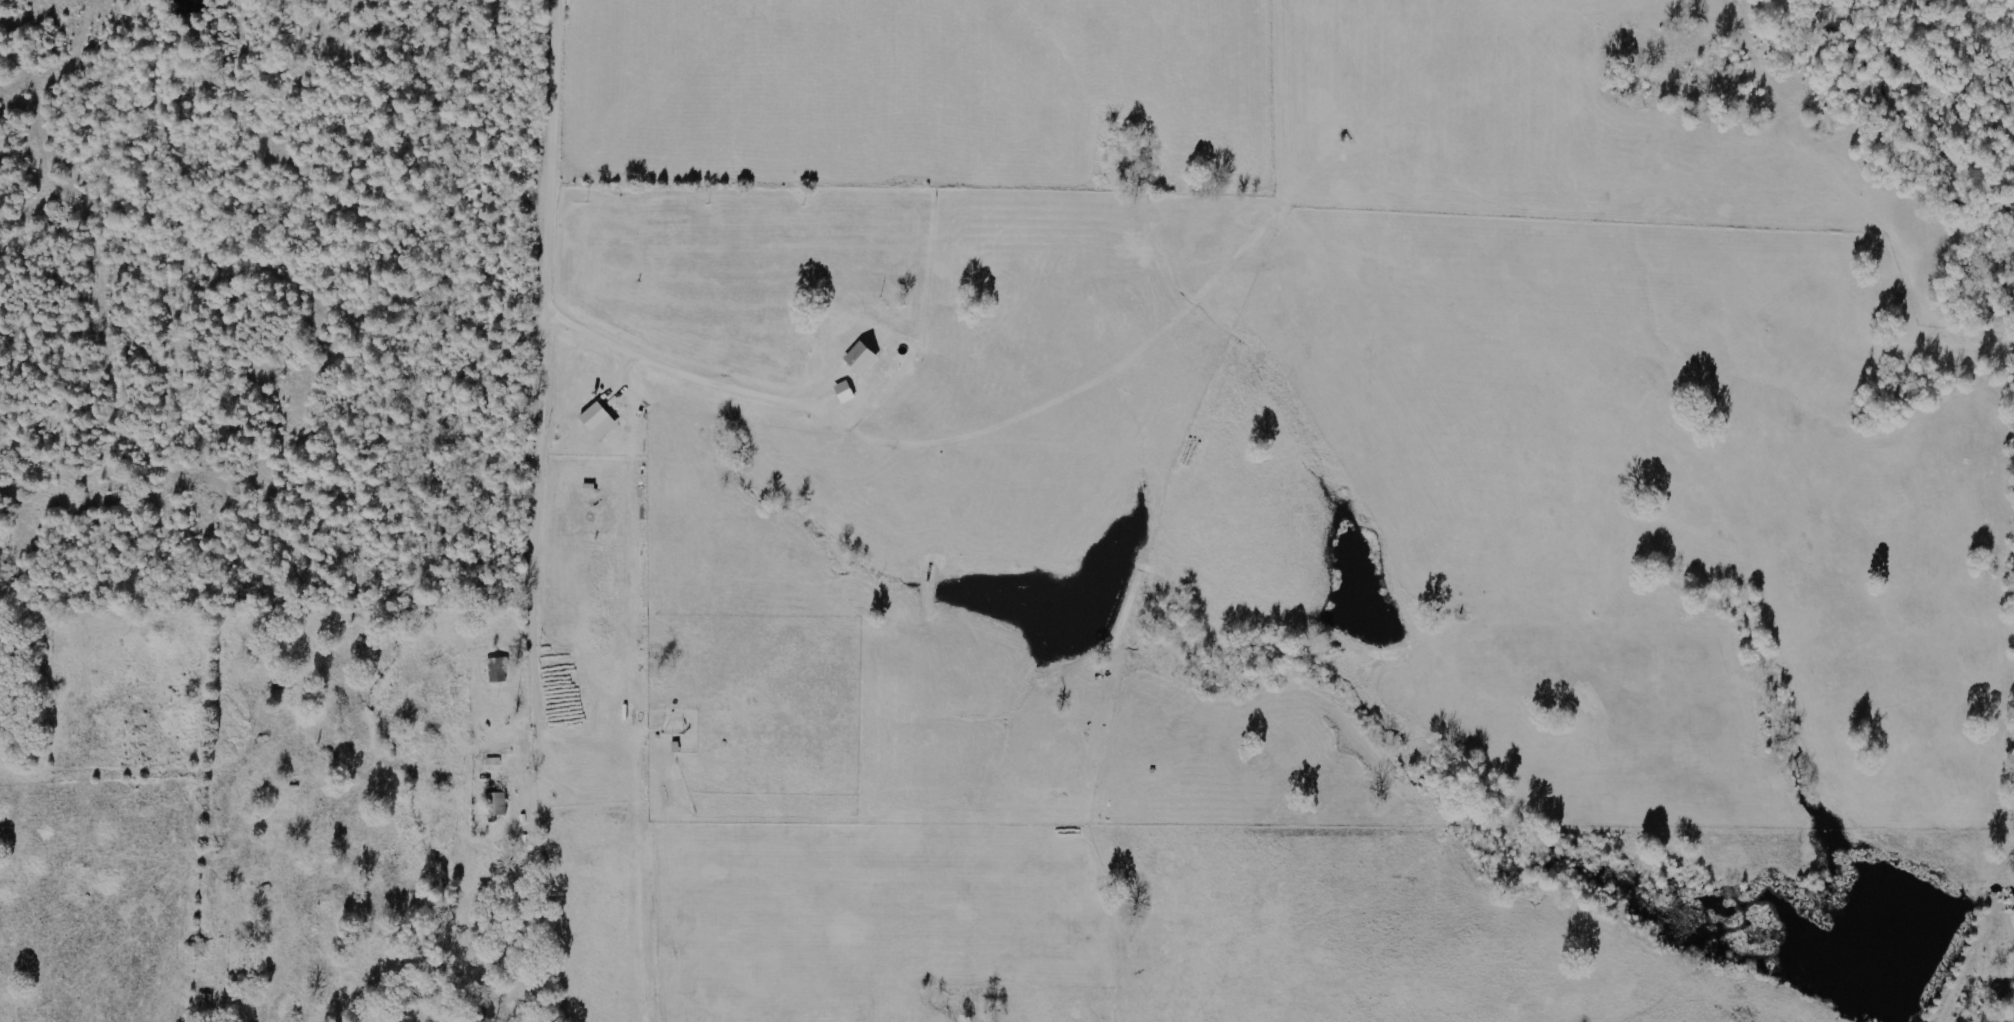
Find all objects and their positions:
building: (867, 357)
road: (551, 358)
building: (604, 421)

